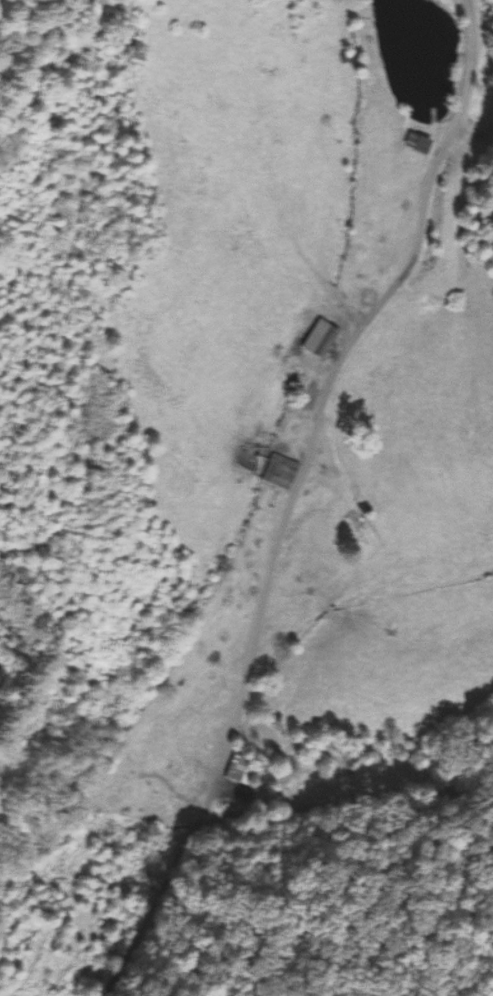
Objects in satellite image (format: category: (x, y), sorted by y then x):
building: (418, 143)
building: (324, 341)
building: (281, 472)
road: (292, 496)
building: (242, 770)

